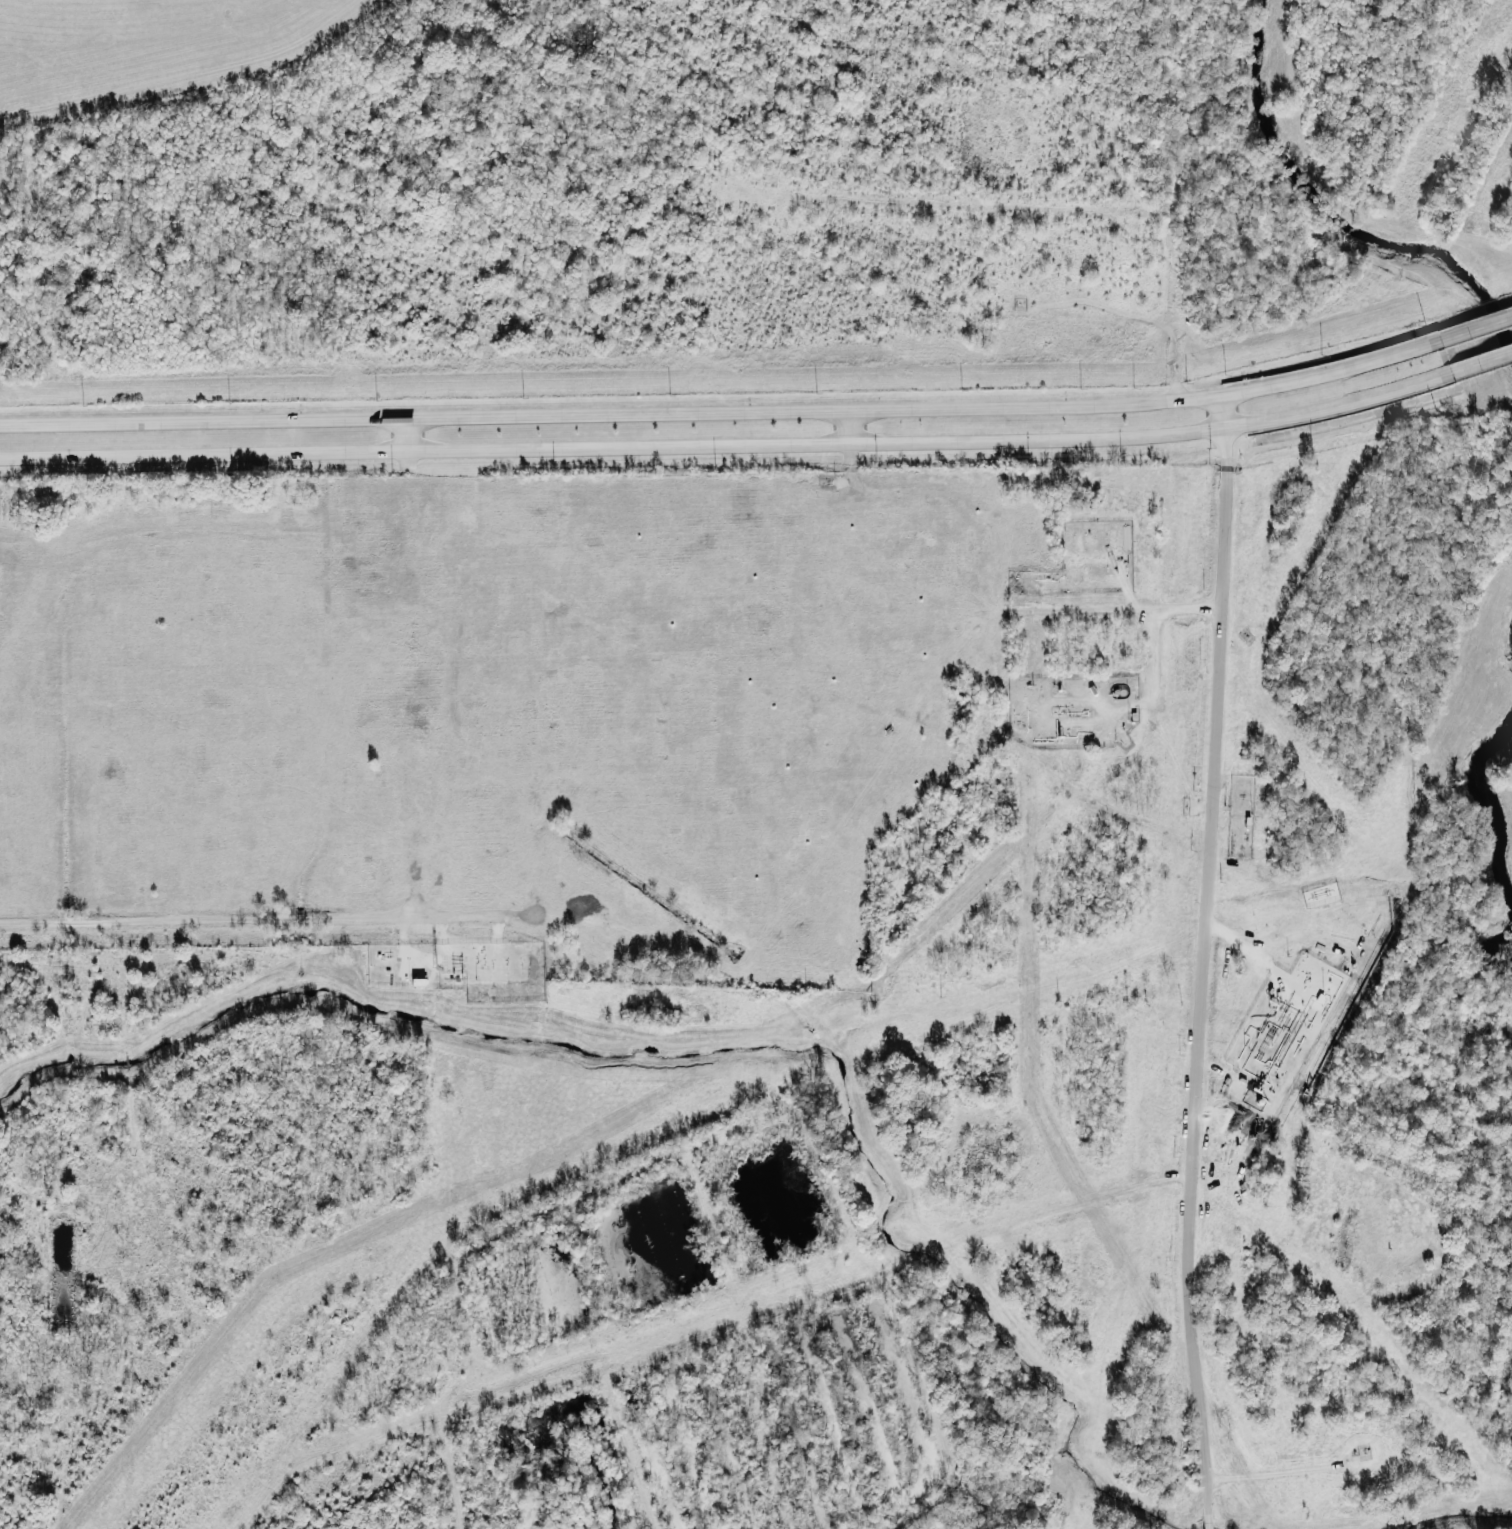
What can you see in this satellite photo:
river: (1340, 218)
road: (1474, 327)
road: (1480, 362)
road: (721, 412)
road: (849, 427)
road: (406, 434)
road: (728, 446)
road: (86, 553)
road: (37, 558)
river: (1491, 807)
road: (268, 921)
river: (1488, 956)
road: (1200, 961)
road: (1099, 1196)

